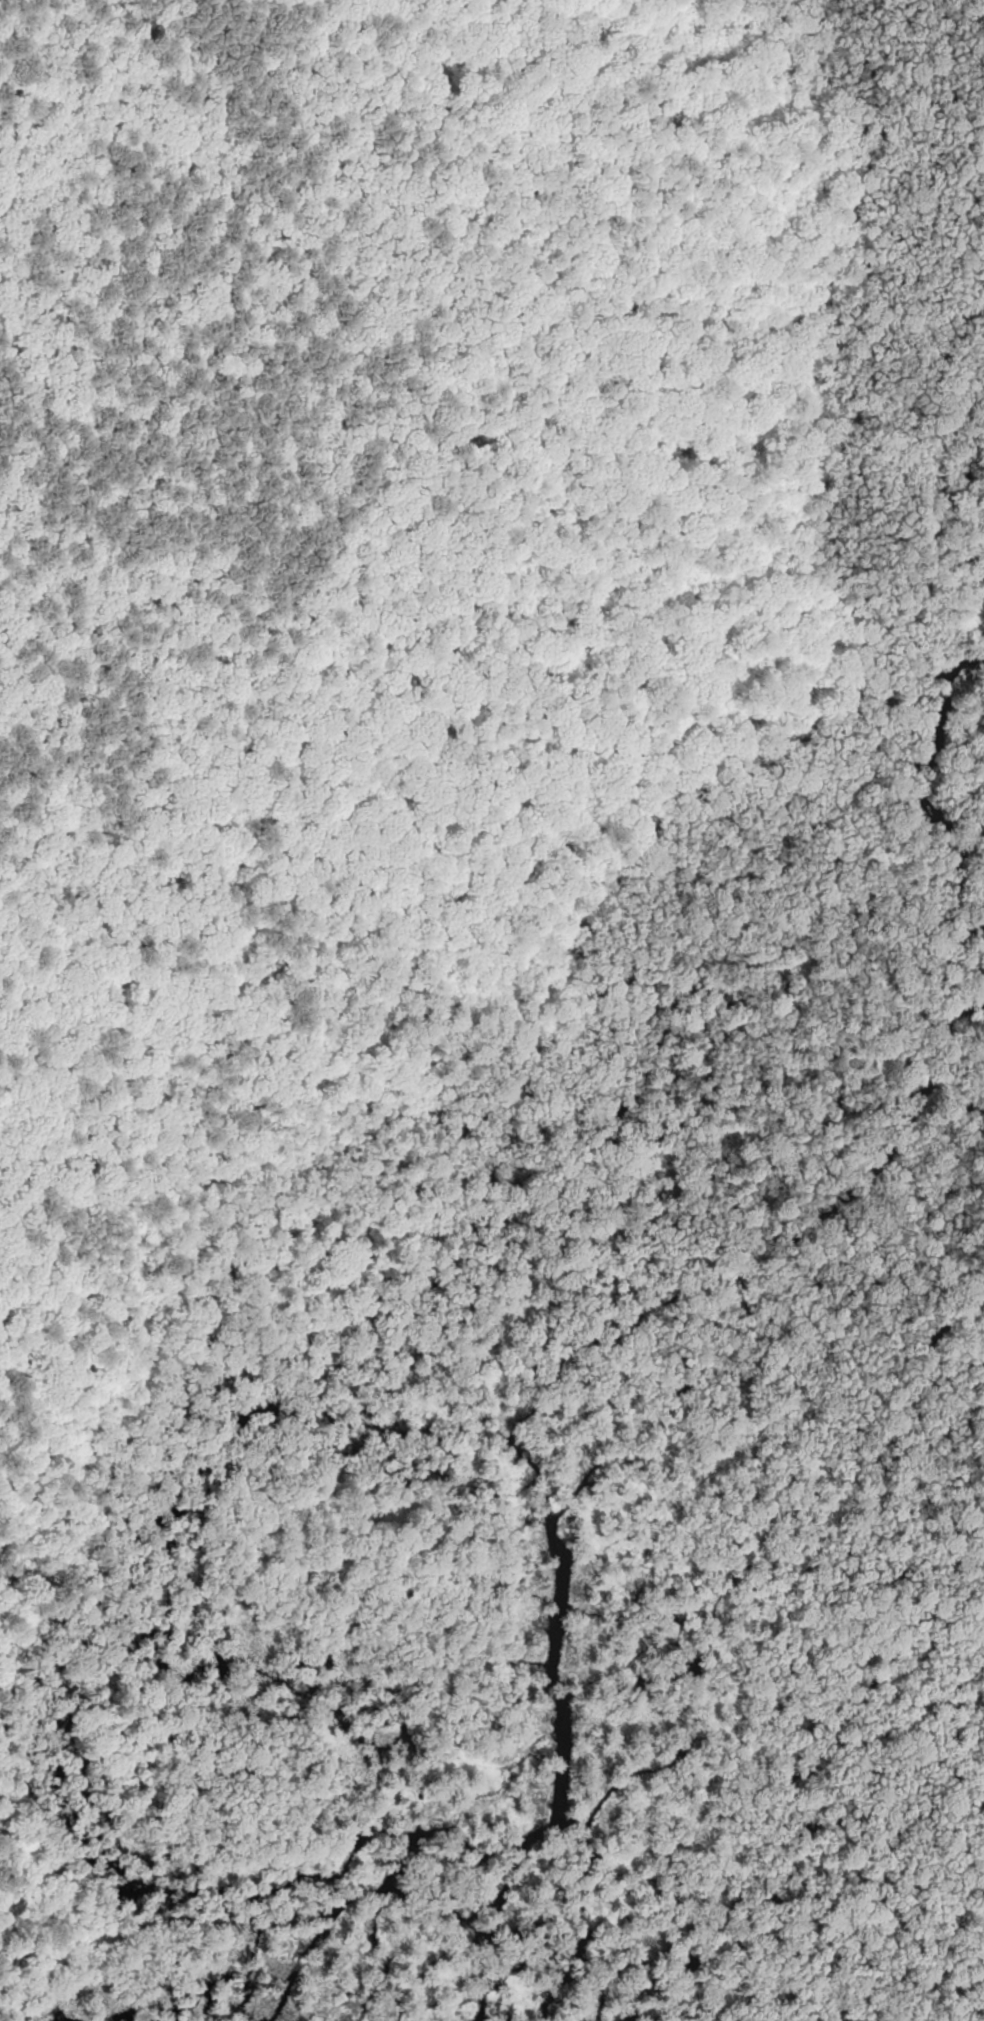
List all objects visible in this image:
road: (778, 658)
park: (492, 1010)

